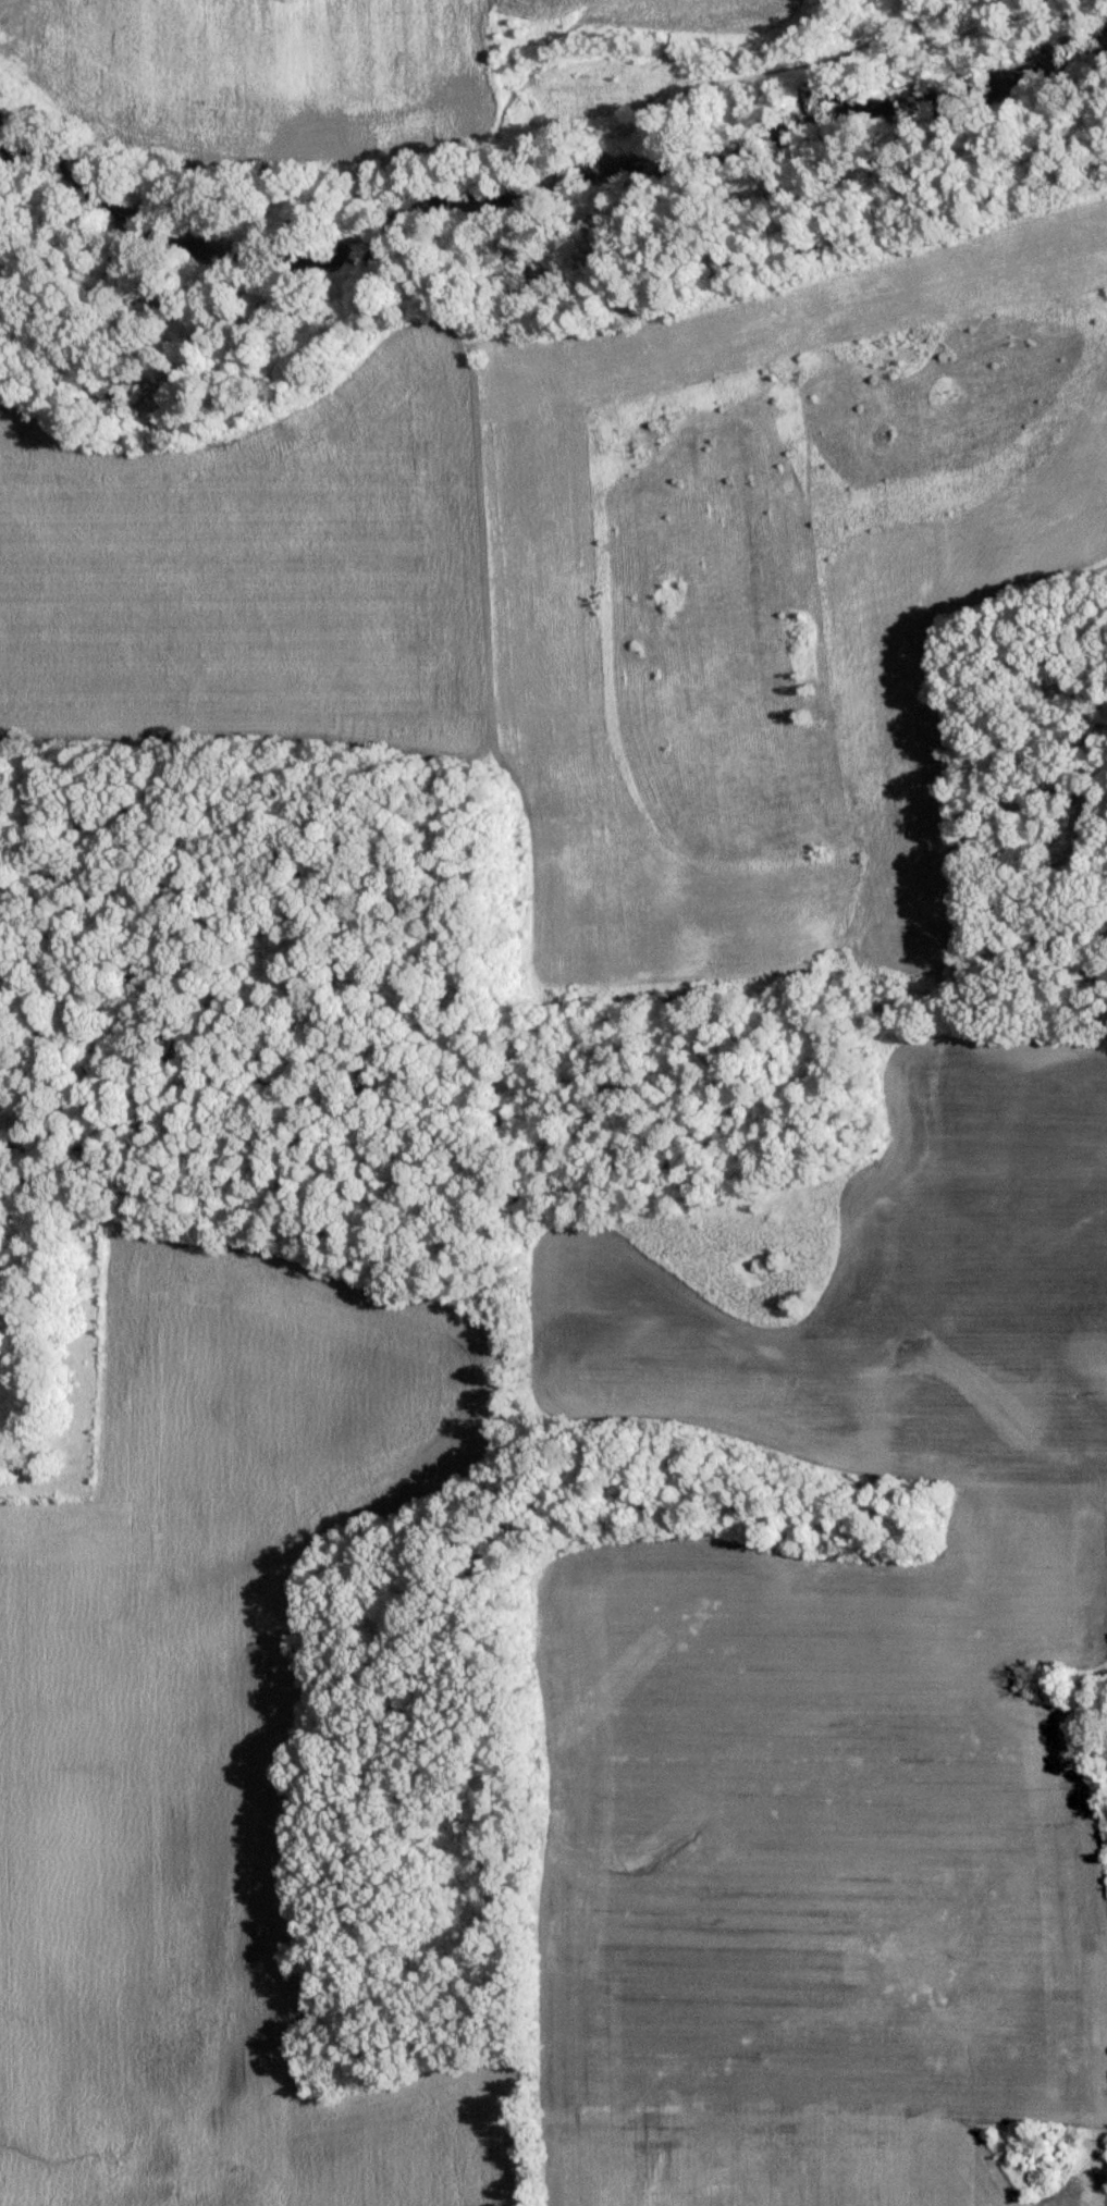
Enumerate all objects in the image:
river: (540, 194)

